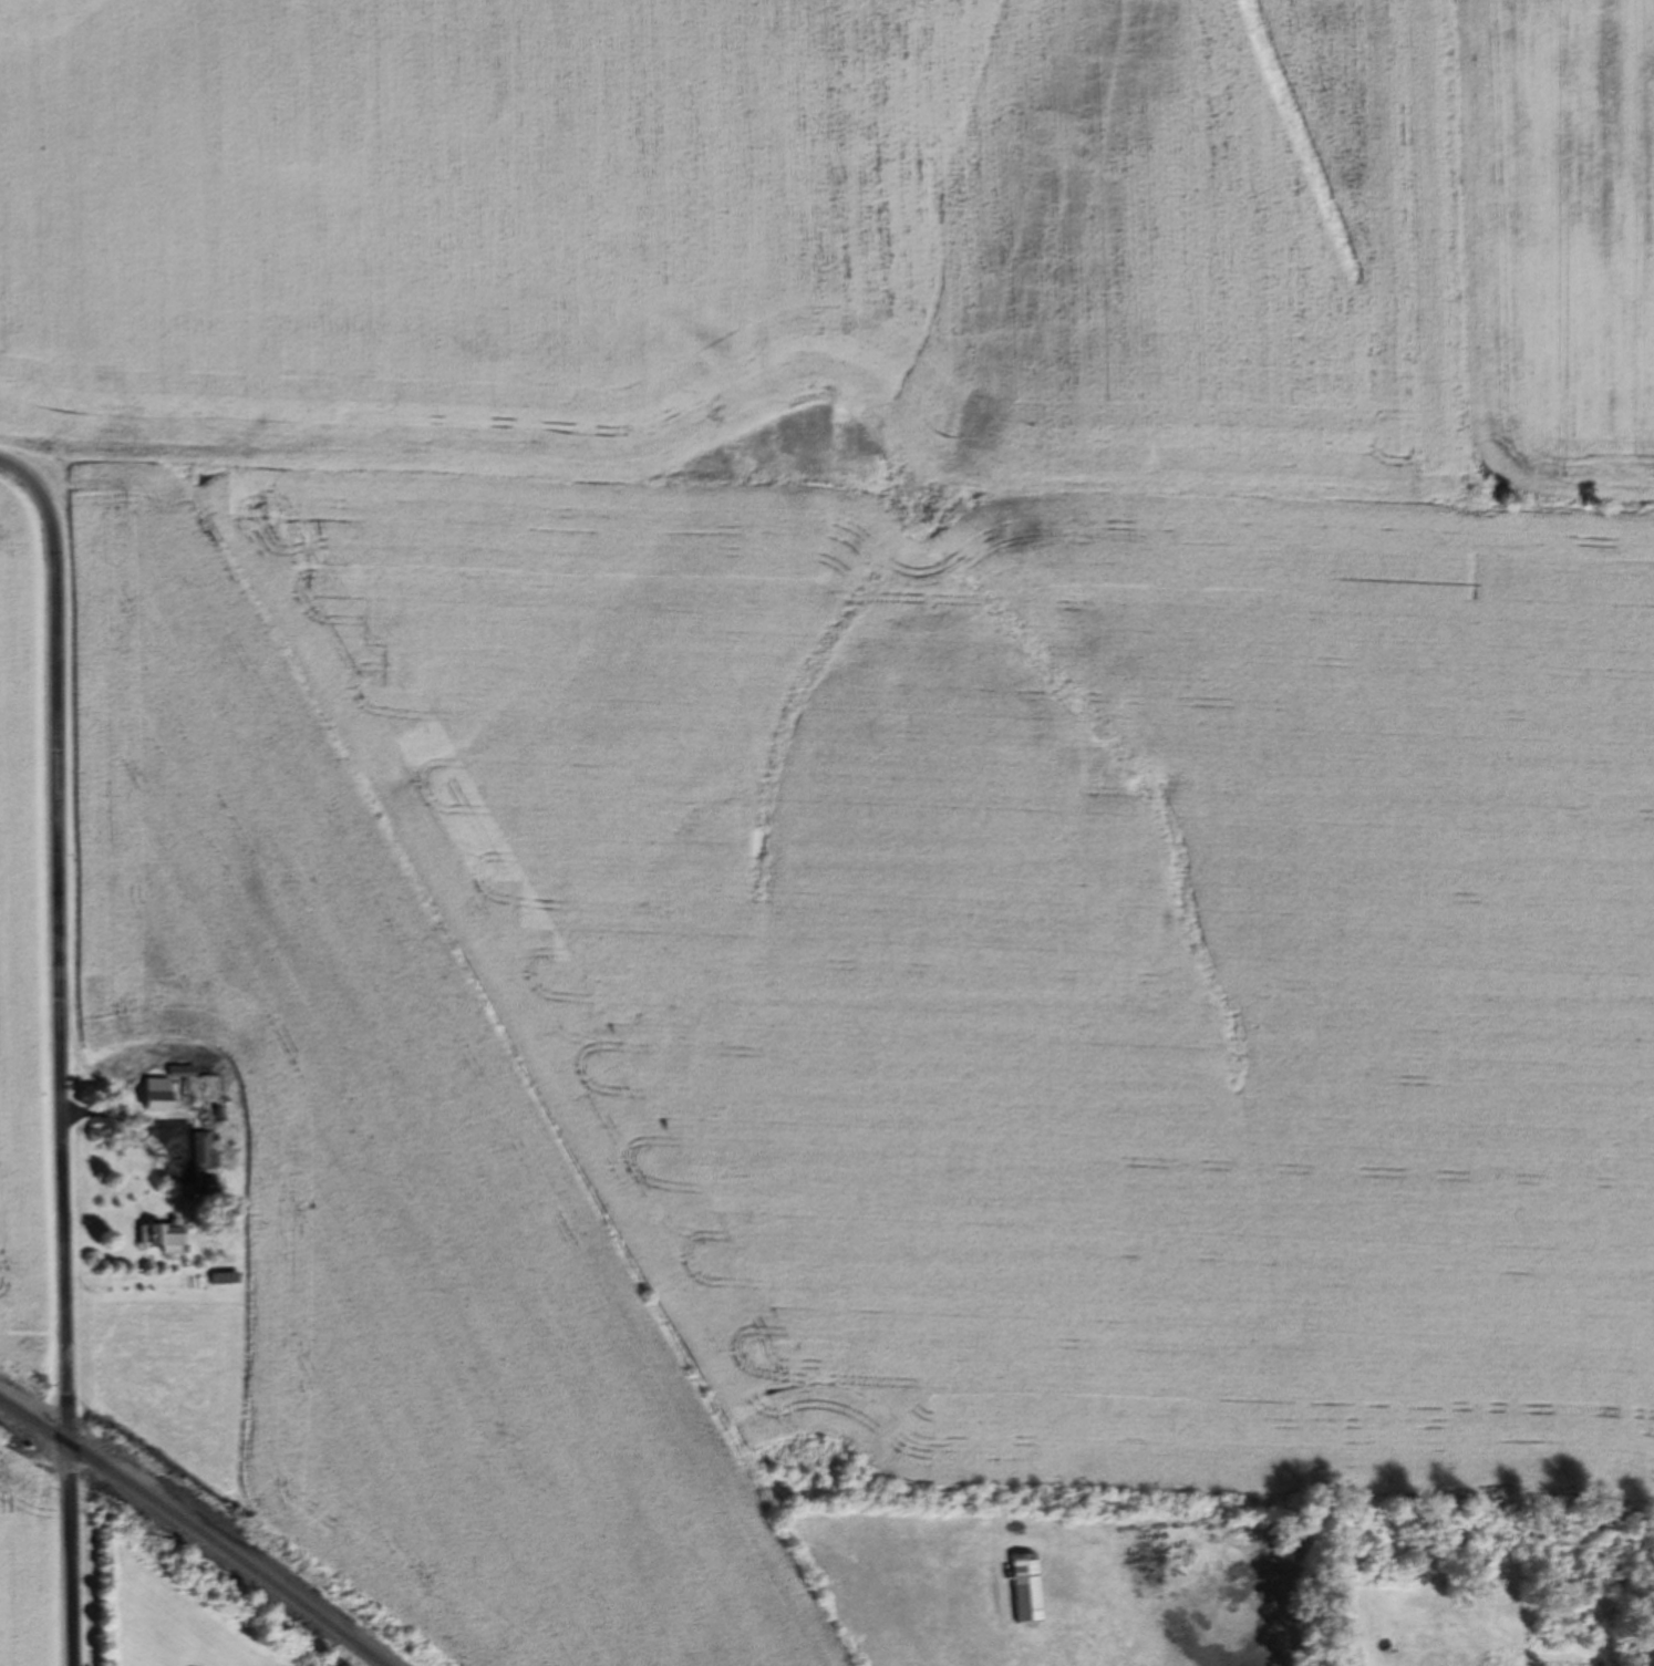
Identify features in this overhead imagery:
road: (62, 1052)
building: (164, 1083)
building: (203, 1149)
building: (206, 1191)
building: (161, 1235)
railway: (194, 1528)
building: (1024, 1587)

